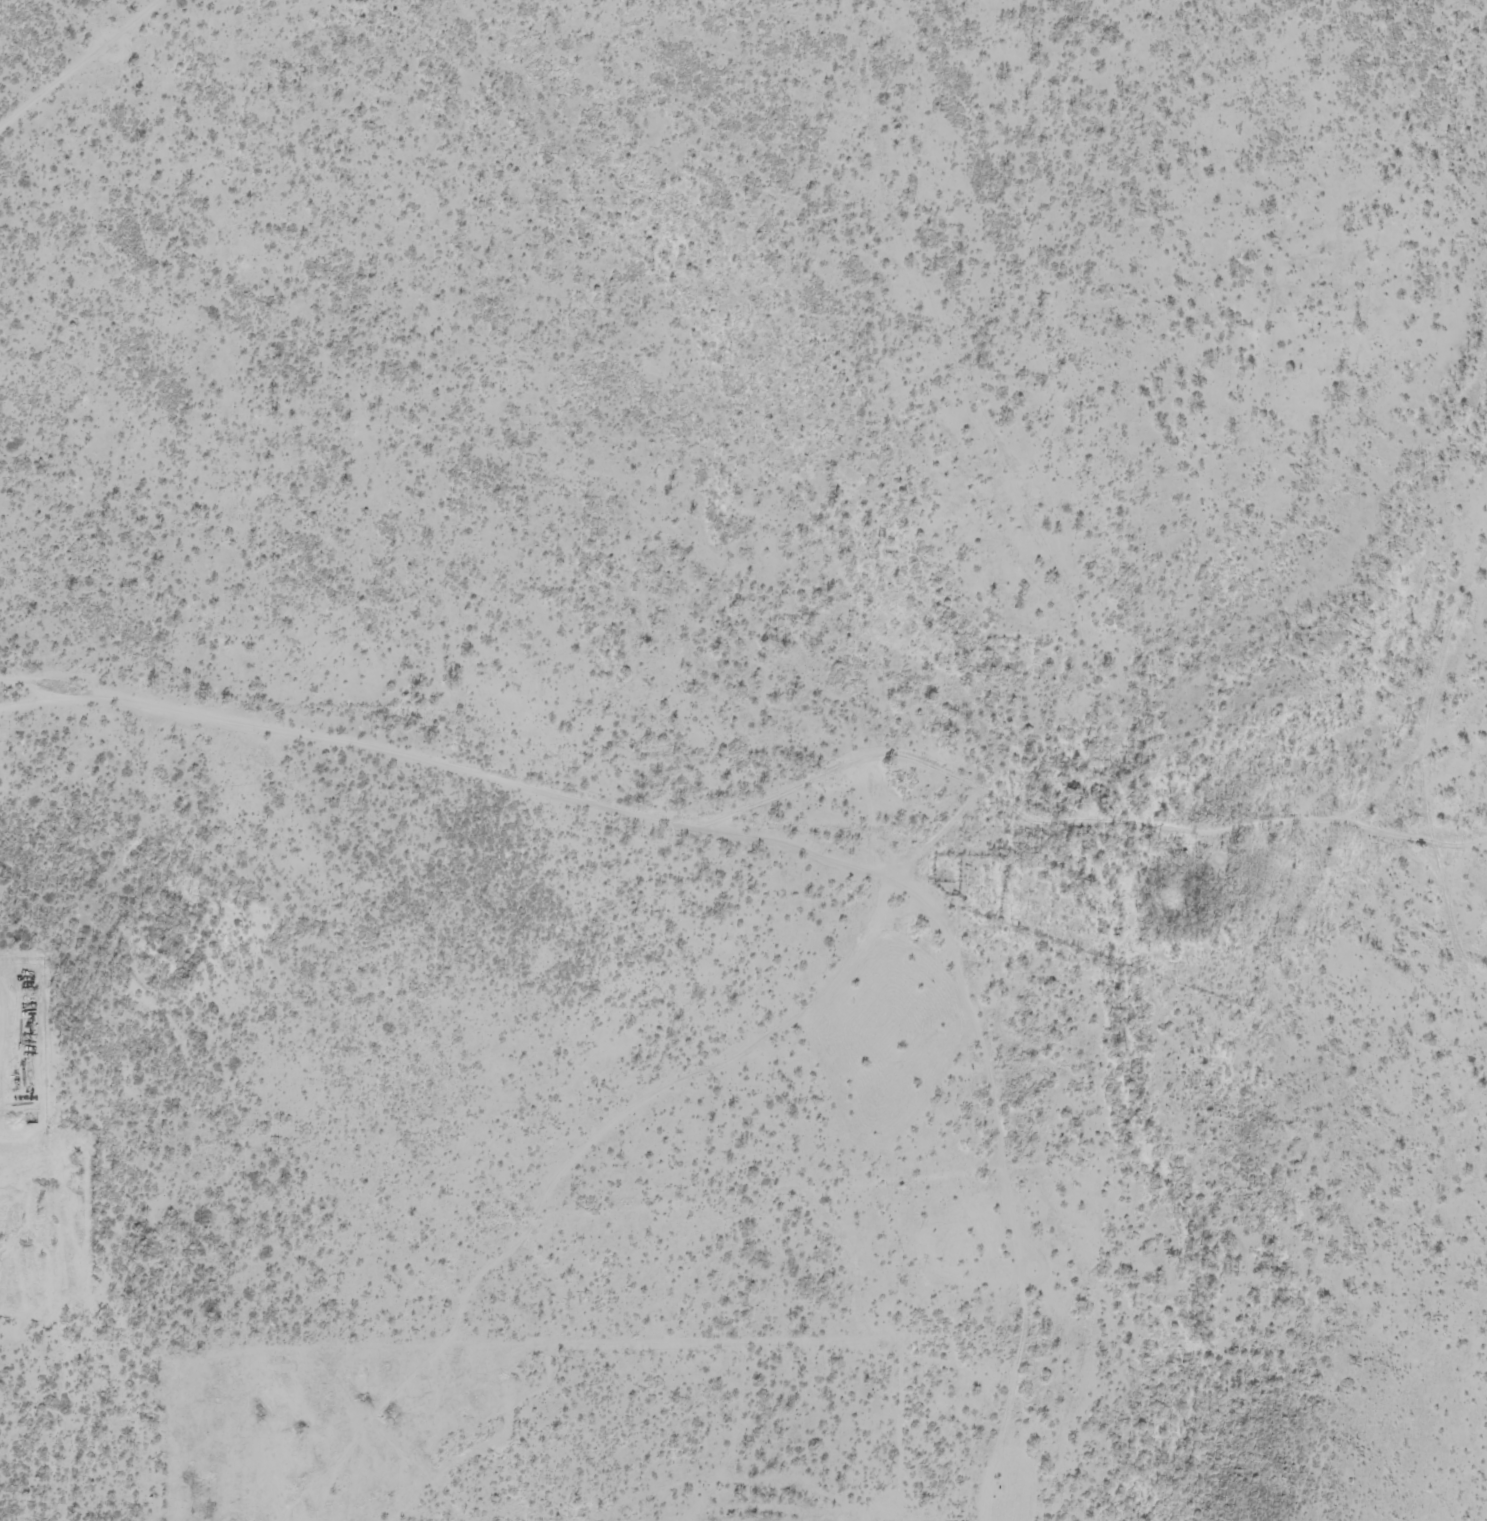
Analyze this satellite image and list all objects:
road: (81, 64)
road: (1423, 798)
road: (804, 832)
road: (59, 1090)
road: (1019, 1173)

